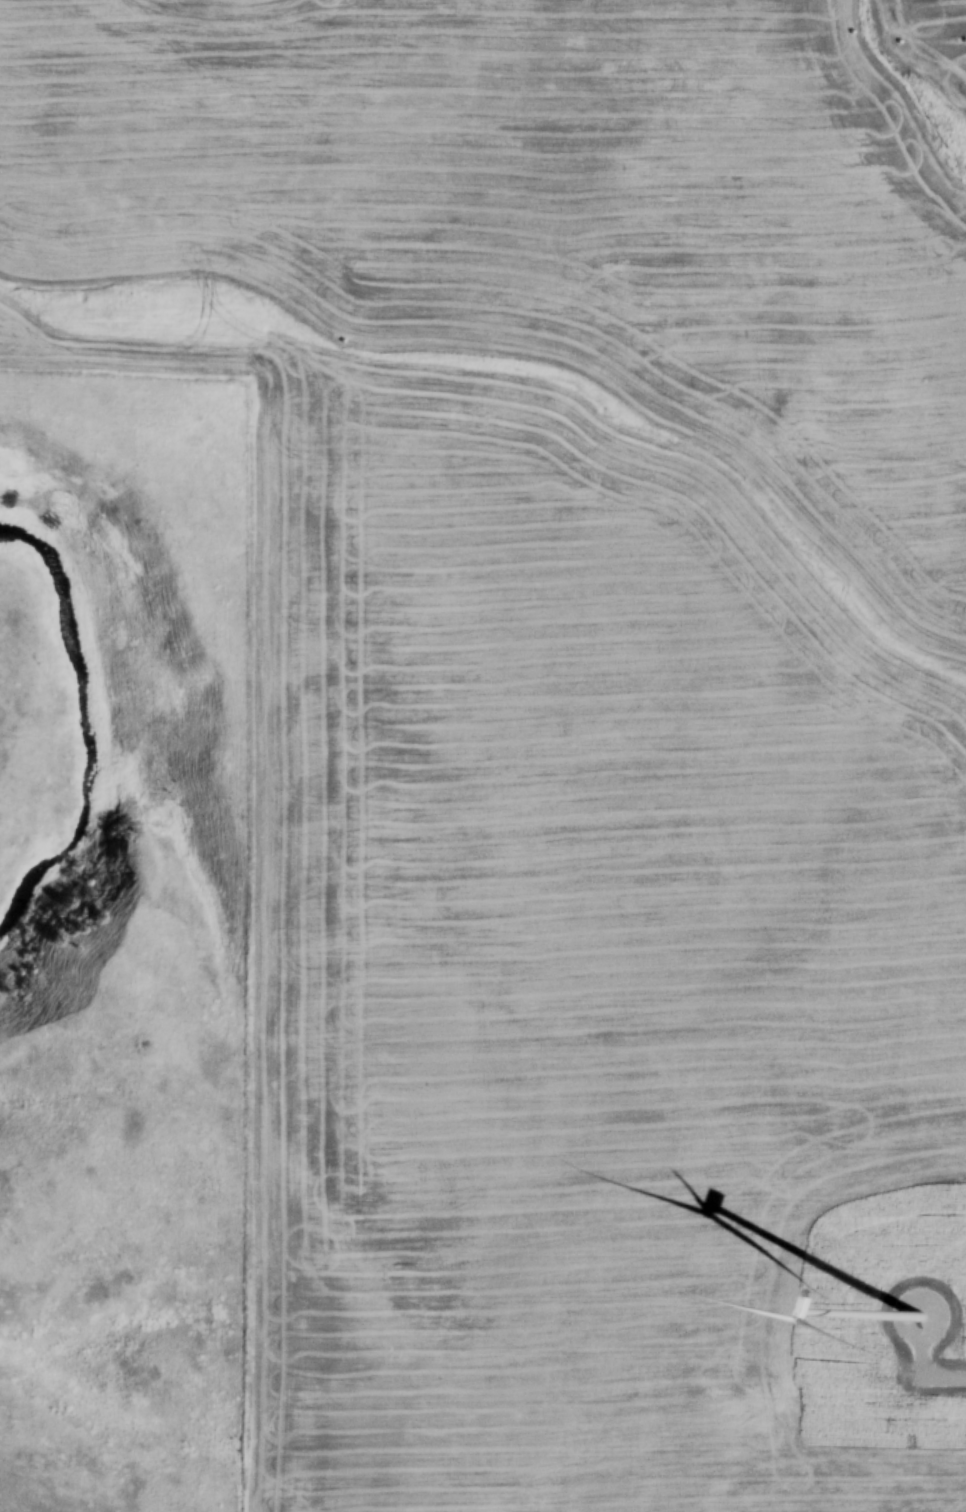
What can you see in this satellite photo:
wind turbine: (921, 1328)

